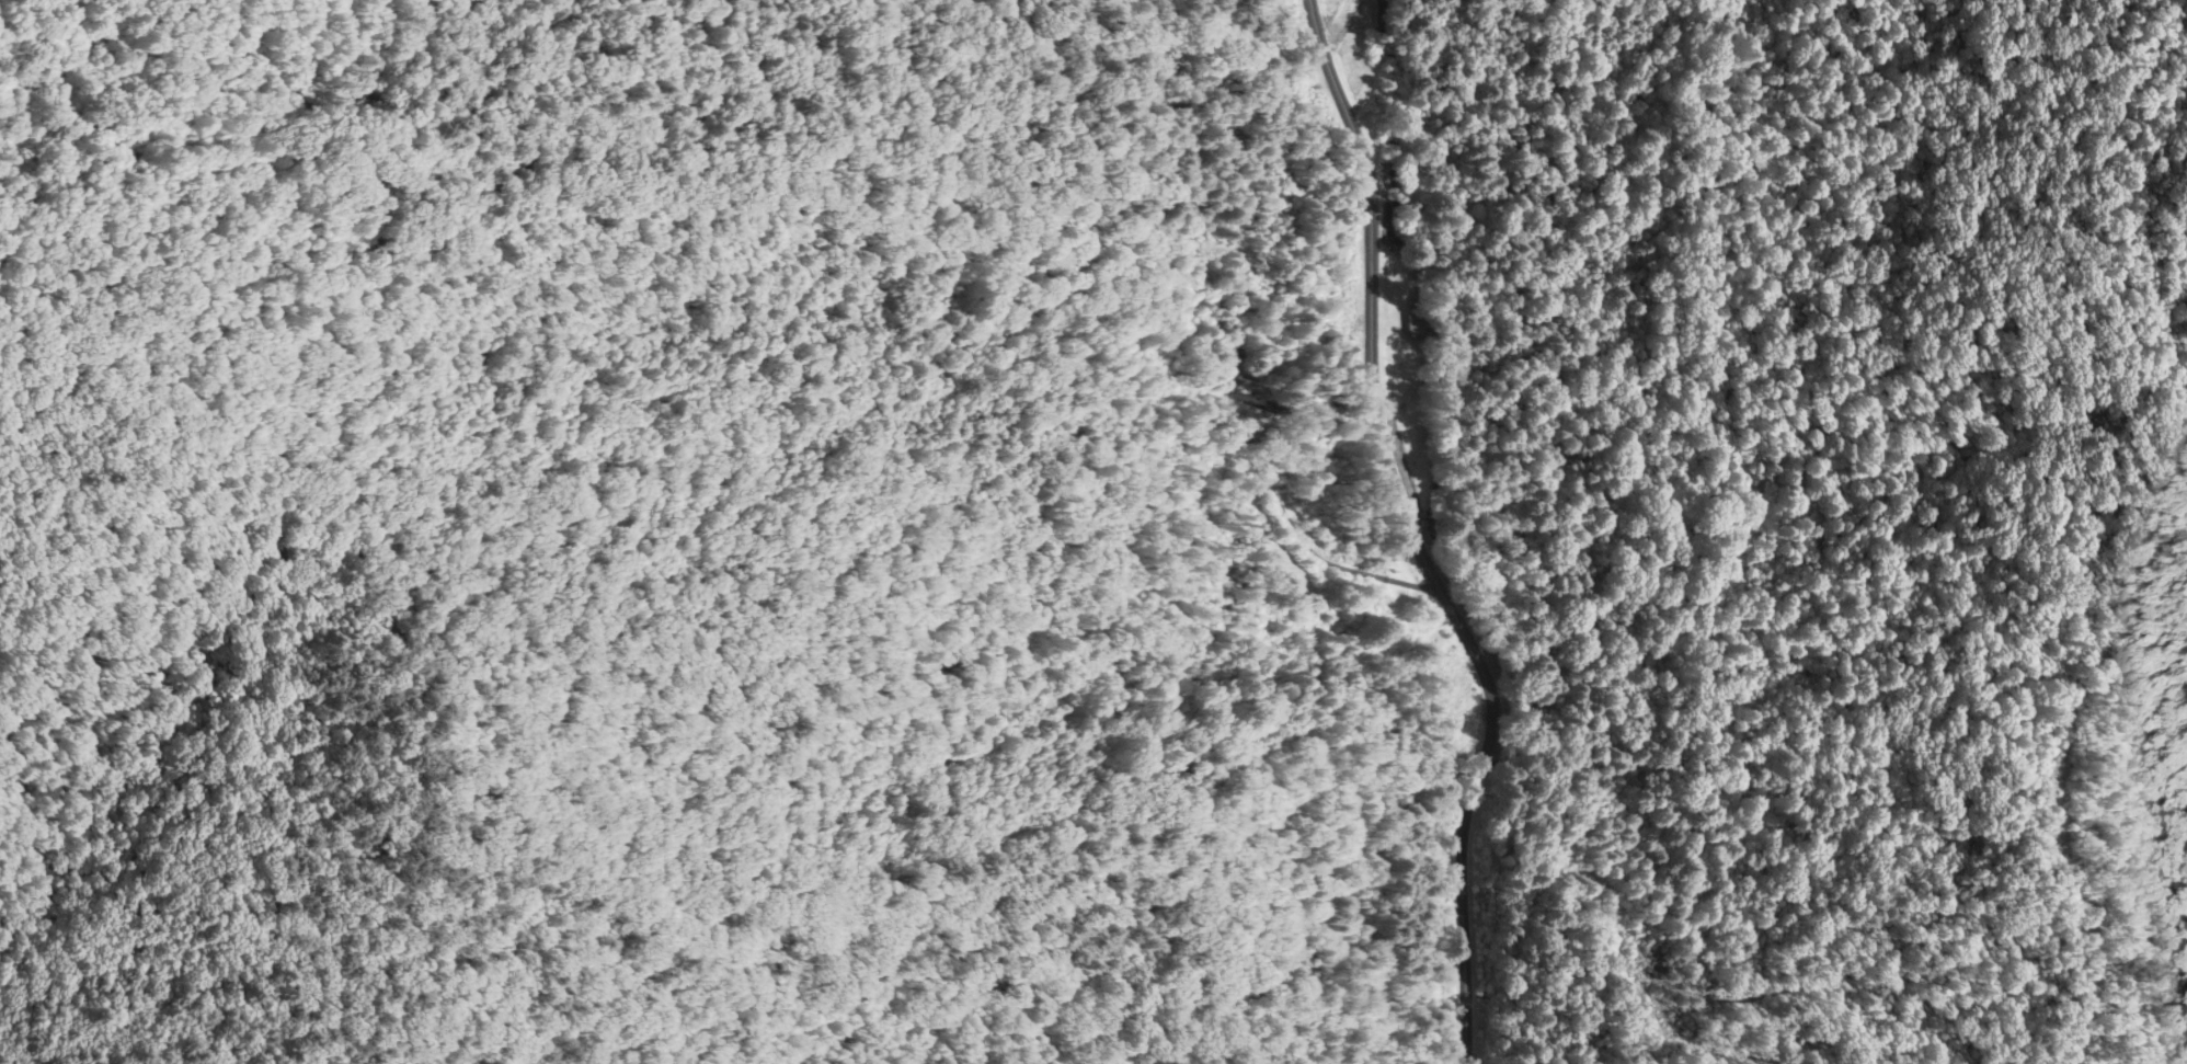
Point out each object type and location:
building: (1226, 355)
building: (1247, 402)
road: (1395, 533)

